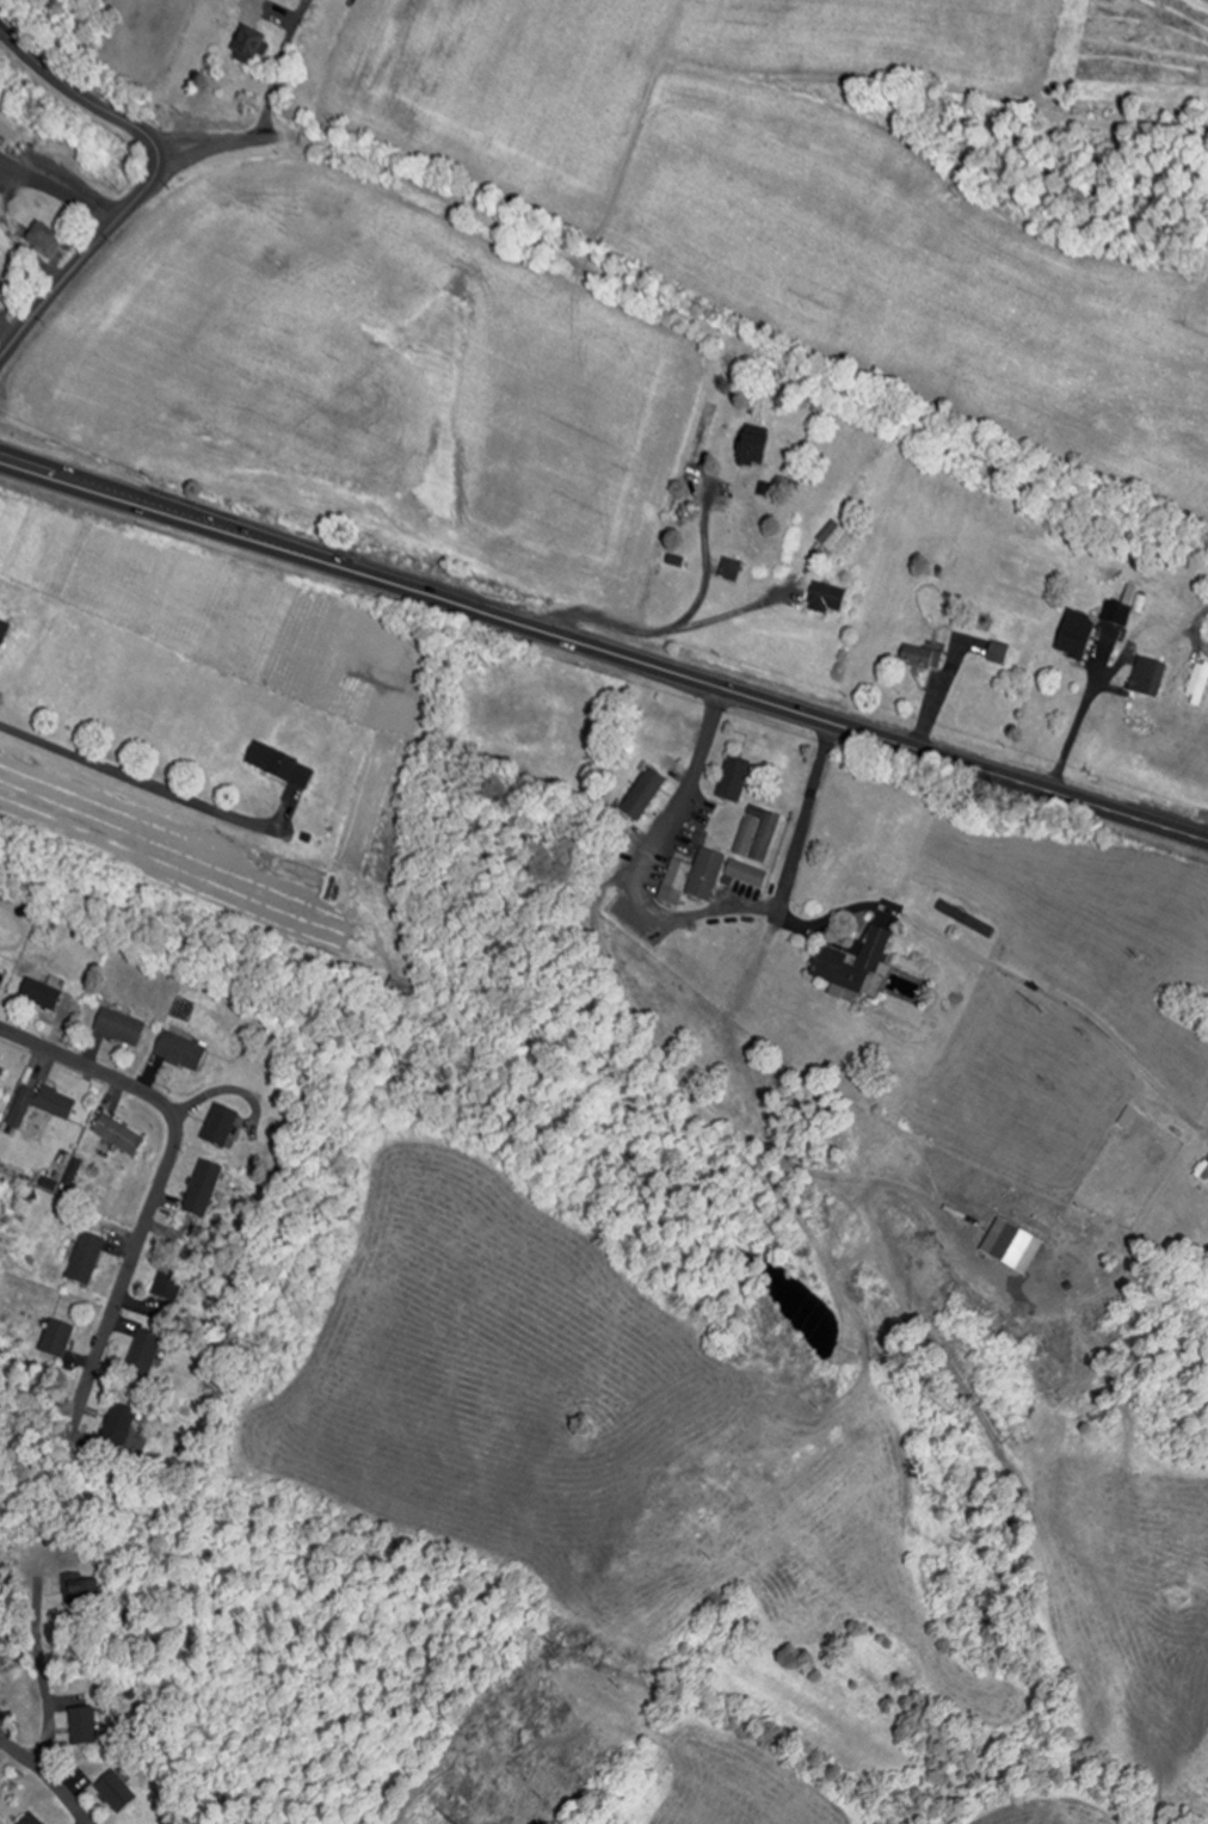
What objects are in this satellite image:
building: (254, 43)
road: (265, 118)
road: (154, 180)
road: (58, 189)
building: (45, 238)
building: (4, 290)
road: (7, 339)
building: (754, 451)
building: (836, 536)
road: (704, 567)
building: (734, 569)
building: (830, 598)
building: (1118, 620)
building: (5, 629)
road: (667, 630)
building: (1079, 635)
road: (603, 649)
building: (1001, 652)
building: (925, 658)
building: (1151, 677)
road: (1076, 728)
road: (90, 759)
building: (283, 765)
building: (735, 779)
building: (646, 795)
building: (759, 836)
building: (750, 874)
building: (695, 879)
road: (697, 913)
building: (855, 963)
building: (406, 988)
building: (44, 994)
power tower: (1042, 1004)
building: (123, 1027)
building: (184, 1050)
building: (2, 1074)
building: (44, 1104)
building: (223, 1127)
building: (121, 1135)
road: (165, 1182)
building: (205, 1190)
building: (1015, 1246)
building: (88, 1259)
building: (172, 1283)
building: (58, 1342)
building: (146, 1354)
building: (122, 1426)
road: (42, 1678)
building: (86, 1726)
road: (47, 1776)
building: (118, 1793)
building: (33, 1820)

